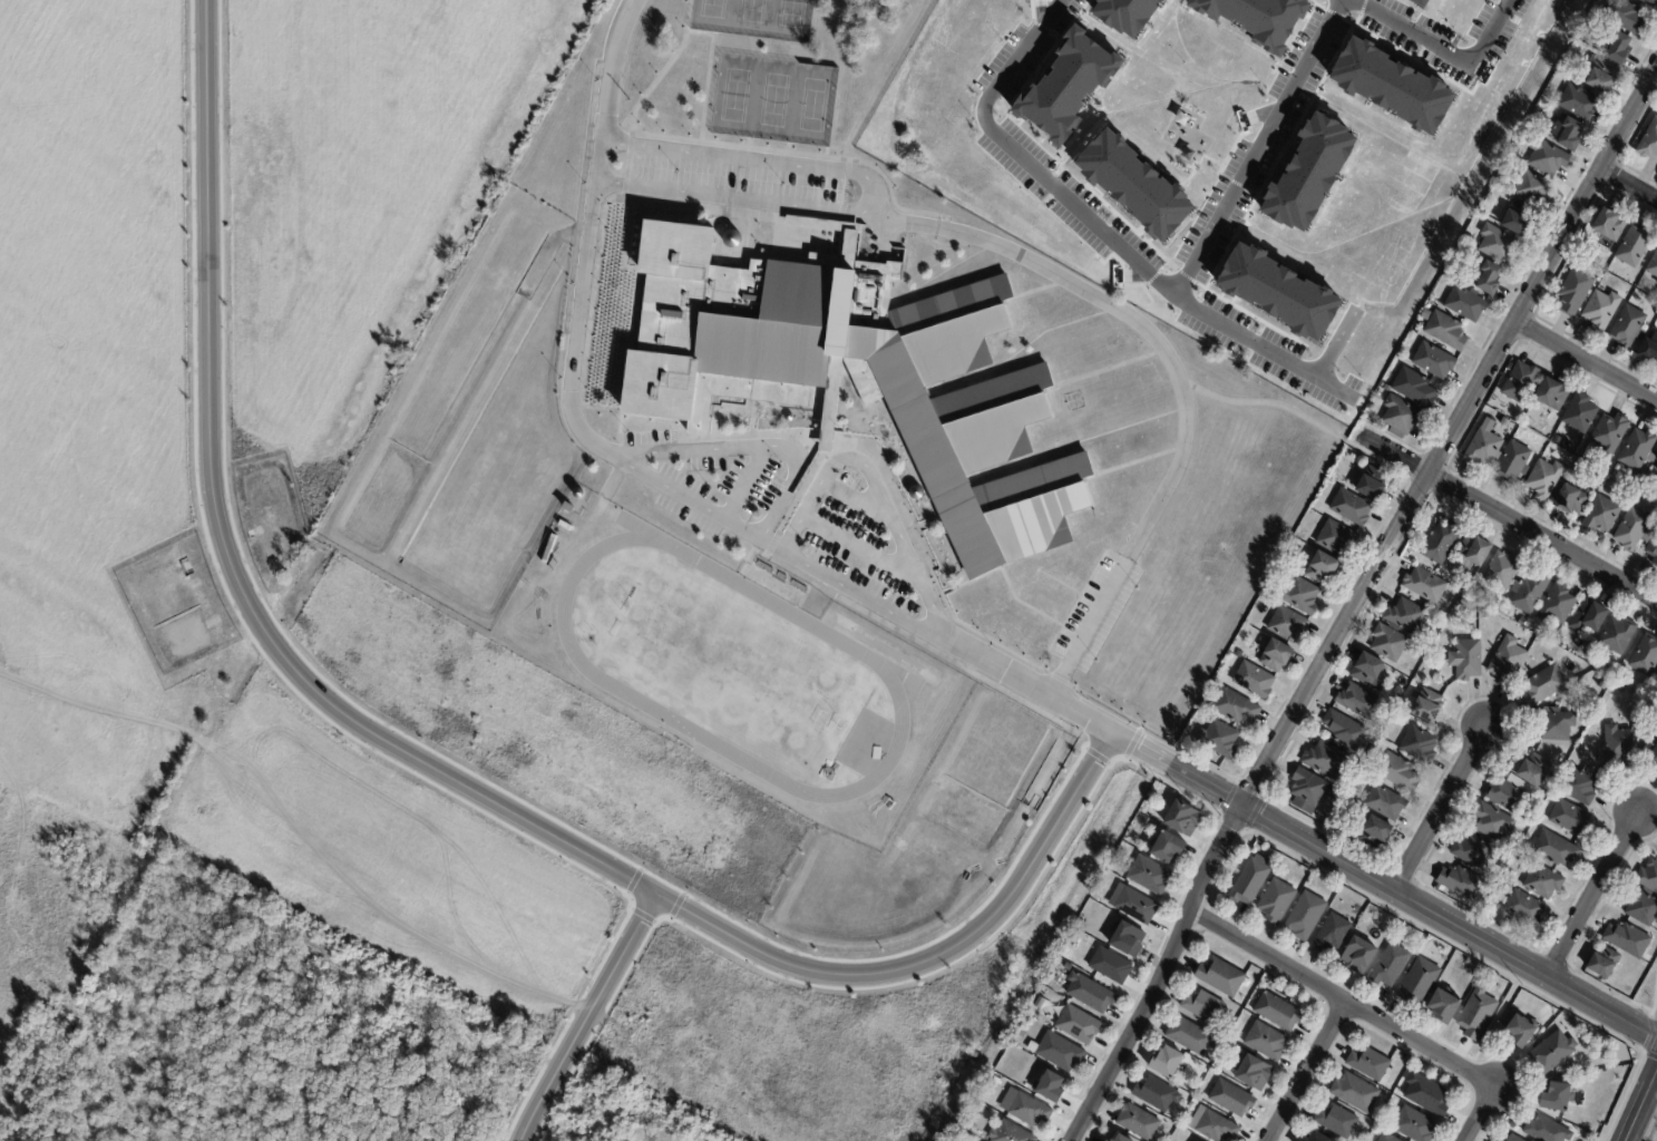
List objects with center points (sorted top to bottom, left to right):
building: (1419, 2)
building: (1650, 3)
building: (1123, 16)
building: (1253, 17)
building: (1593, 17)
park: (754, 18)
building: (1625, 18)
road: (700, 33)
building: (1616, 47)
road: (1446, 50)
road: (714, 58)
road: (665, 68)
building: (1600, 76)
building: (1066, 82)
building: (1392, 85)
road: (706, 89)
park: (773, 99)
building: (1580, 103)
building: (1567, 134)
building: (1649, 142)
road: (1258, 148)
road: (803, 155)
building: (1547, 158)
road: (756, 159)
road: (626, 165)
building: (1308, 172)
parking lot: (739, 178)
building: (1131, 185)
road: (1629, 185)
building: (1531, 188)
road: (845, 189)
road: (734, 198)
road: (606, 199)
building: (1518, 220)
road: (837, 223)
building: (1609, 226)
road: (1100, 228)
building: (730, 237)
silo: (730, 237)
road: (630, 238)
road: (588, 241)
building: (848, 244)
building: (1498, 244)
building: (1634, 247)
road: (848, 248)
building: (1653, 266)
road: (942, 274)
building: (1485, 279)
building: (1656, 283)
road: (1033, 291)
building: (1278, 291)
building: (1575, 293)
building: (1466, 304)
building: (1601, 310)
building: (1425, 316)
building: (1421, 325)
crop: (92, 328)
building: (1629, 329)
building: (1446, 332)
road: (1338, 345)
building: (1648, 351)
road: (1586, 361)
building: (1434, 362)
building: (856, 374)
road: (1178, 378)
building: (1503, 380)
building: (1520, 383)
building: (1414, 390)
building: (1552, 396)
road: (1270, 404)
road: (721, 408)
building: (1580, 415)
building: (787, 416)
silo: (787, 416)
road: (753, 417)
building: (1402, 418)
building: (825, 419)
building: (1504, 423)
road: (621, 428)
building: (1610, 435)
building: (1557, 441)
road: (753, 446)
building: (1483, 448)
parking lot: (676, 449)
road: (823, 449)
building: (1637, 450)
building: (1656, 458)
building: (1656, 460)
building: (1513, 464)
building: (1656, 469)
building: (1656, 471)
building: (1546, 481)
road: (748, 482)
road: (893, 482)
building: (1372, 482)
road: (608, 486)
building: (576, 491)
silo: (576, 491)
parking lot: (723, 494)
road: (879, 495)
road: (691, 499)
road: (857, 501)
building: (1570, 501)
building: (1351, 507)
building: (567, 509)
building: (1656, 513)
building: (1601, 516)
road: (1509, 521)
building: (1634, 532)
building: (1339, 538)
building: (1441, 540)
road: (771, 543)
building: (1297, 544)
road: (860, 548)
building: (1474, 549)
building: (548, 550)
building: (1653, 550)
parking lot: (858, 554)
building: (1322, 567)
building: (1502, 569)
road: (754, 576)
road: (1005, 578)
building: (1425, 584)
road: (856, 592)
building: (1529, 592)
building: (1299, 594)
road: (1358, 602)
building: (1465, 603)
building: (1557, 604)
road: (1073, 609)
parking lot: (1096, 613)
building: (1437, 614)
building: (1485, 614)
building: (1406, 616)
building: (1588, 616)
building: (1522, 621)
building: (1436, 622)
building: (1287, 624)
building: (1617, 635)
building: (1558, 640)
building: (1390, 642)
building: (1239, 654)
building: (1275, 655)
building: (1645, 655)
track: (867, 656)
building: (1508, 657)
building: (1466, 660)
park: (729, 667)
building: (1606, 669)
building: (1368, 671)
building: (1656, 677)
road: (1060, 679)
building: (1254, 680)
building: (1605, 682)
building: (1546, 684)
road: (1031, 689)
building: (1358, 701)
building: (1427, 705)
building: (1236, 706)
building: (1557, 724)
building: (1345, 730)
road: (1150, 731)
building: (1219, 739)
building: (1618, 742)
building: (1420, 744)
building: (1654, 755)
building: (1325, 760)
road: (425, 763)
building: (1534, 770)
building: (1398, 773)
building: (1581, 786)
building: (1307, 790)
building: (1507, 792)
building: (1334, 793)
building: (1385, 802)
road: (1442, 810)
building: (1570, 818)
building: (1181, 819)
building: (1492, 821)
building: (1374, 832)
building: (1168, 848)
building: (1472, 850)
building: (1556, 850)
building: (1149, 876)
building: (1648, 876)
building: (1543, 881)
building: (1249, 882)
road: (1383, 882)
building: (1461, 882)
road: (1593, 895)
building: (1276, 901)
building: (1135, 906)
building: (1641, 907)
building: (1526, 908)
building: (1305, 916)
building: (1332, 934)
building: (1127, 939)
building: (1628, 940)
building: (1358, 955)
building: (1604, 963)
building: (1110, 966)
building: (1390, 966)
building: (1220, 977)
building: (1419, 982)
building: (1090, 994)
road: (1345, 1001)
building: (1203, 1007)
building: (1443, 1007)
building: (1277, 1013)
building: (1476, 1014)
road: (585, 1016)
building: (1078, 1025)
building: (1520, 1032)
building: (1190, 1036)
building: (1266, 1042)
building: (1059, 1052)
building: (1242, 1052)
building: (1553, 1052)
building: (1164, 1062)
building: (1370, 1064)
building: (1573, 1069)
building: (1250, 1072)
road: (1308, 1072)
building: (996, 1082)
building: (1050, 1088)
building: (1355, 1093)
building: (1156, 1094)
building: (1426, 1095)
building: (1557, 1098)
building: (1231, 1099)
road: (1640, 1106)
building: (1029, 1111)
road: (1481, 1114)
building: (1138, 1122)
building: (1336, 1122)
building: (1212, 1125)
building: (1414, 1125)
building: (1547, 1130)
building: (1008, 1133)
building: (1316, 1138)
building: (1387, 1138)
building: (1120, 1139)
building: (1513, 1139)
building: (1107, 1140)
building: (1304, 1140)
building: (1498, 1140)
building: (1500, 1140)

